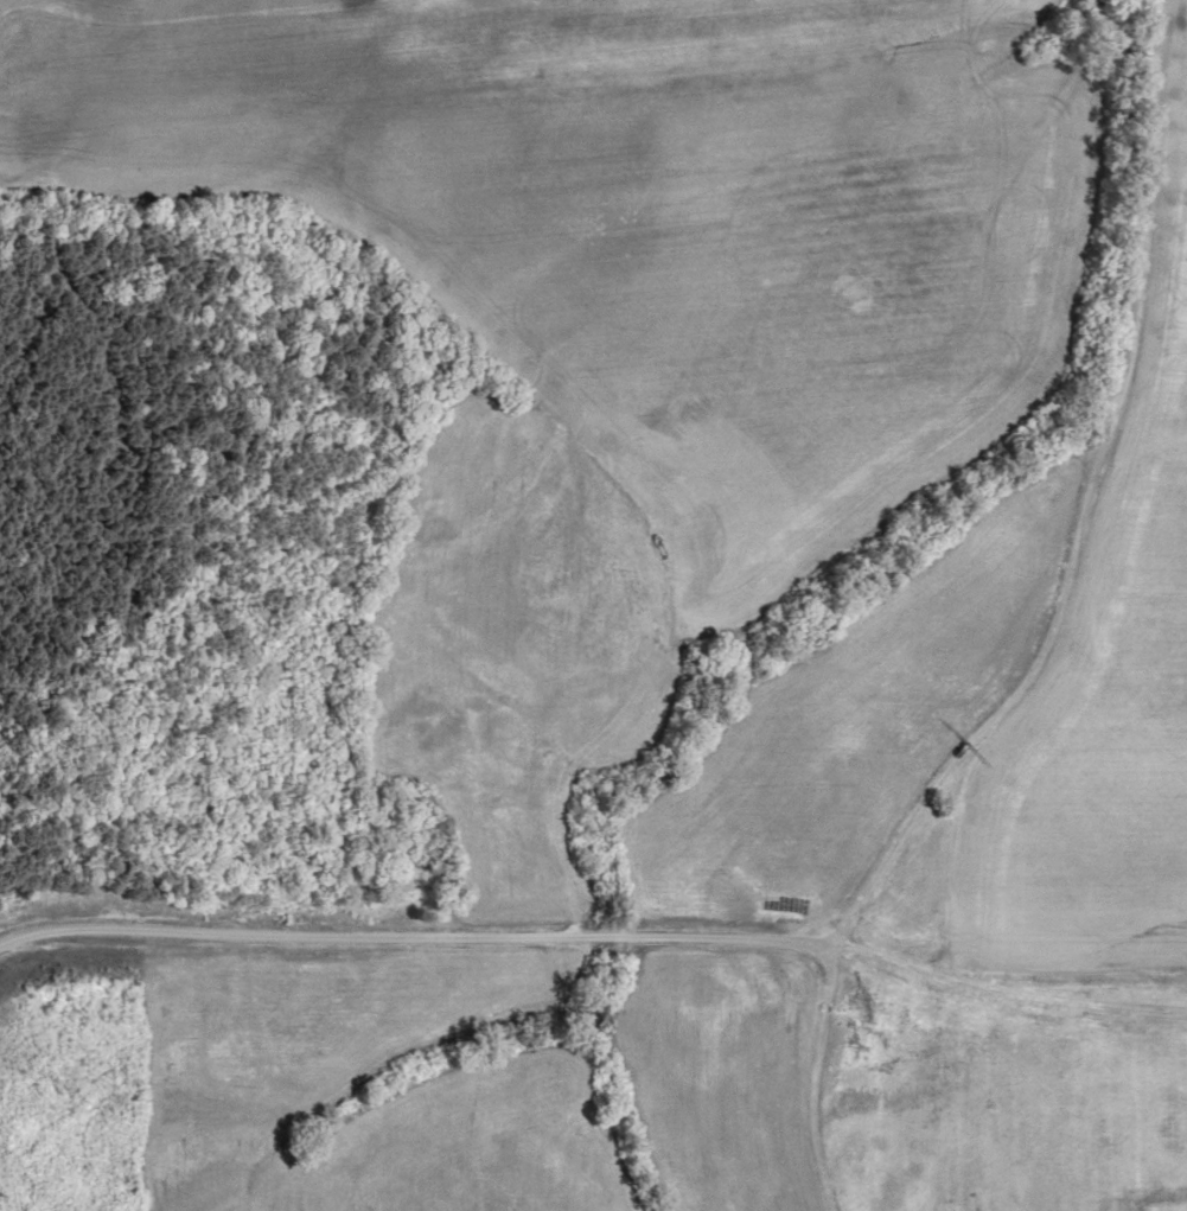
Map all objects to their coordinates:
road: (266, 798)
road: (637, 1002)

